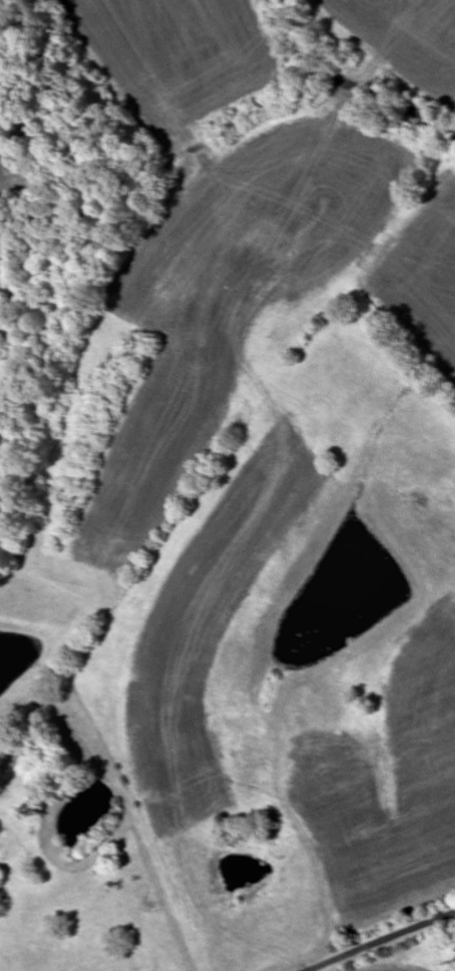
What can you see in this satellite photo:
road: (384, 942)

